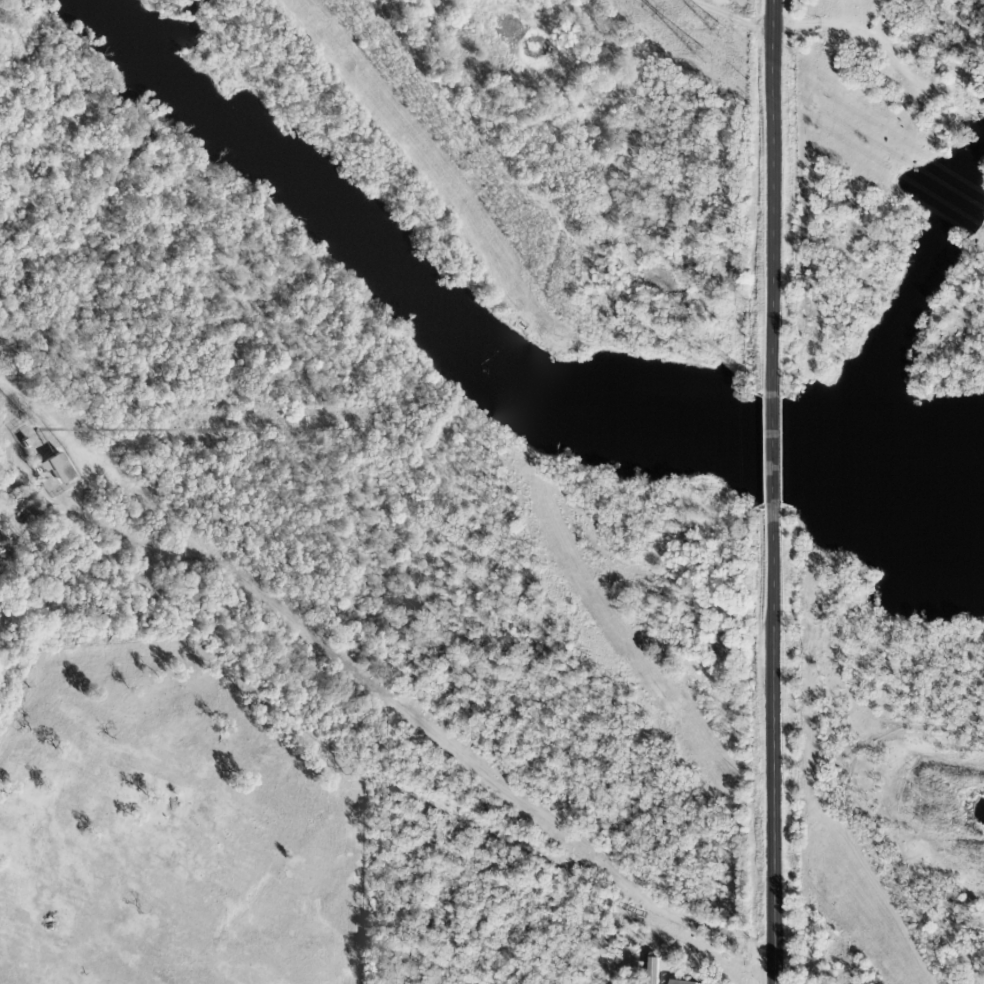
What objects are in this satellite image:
power tower: (728, 30)
road: (882, 50)
power tower: (708, 59)
road: (771, 198)
road: (771, 452)
building: (60, 466)
road: (434, 731)
road: (775, 745)
building: (689, 982)

